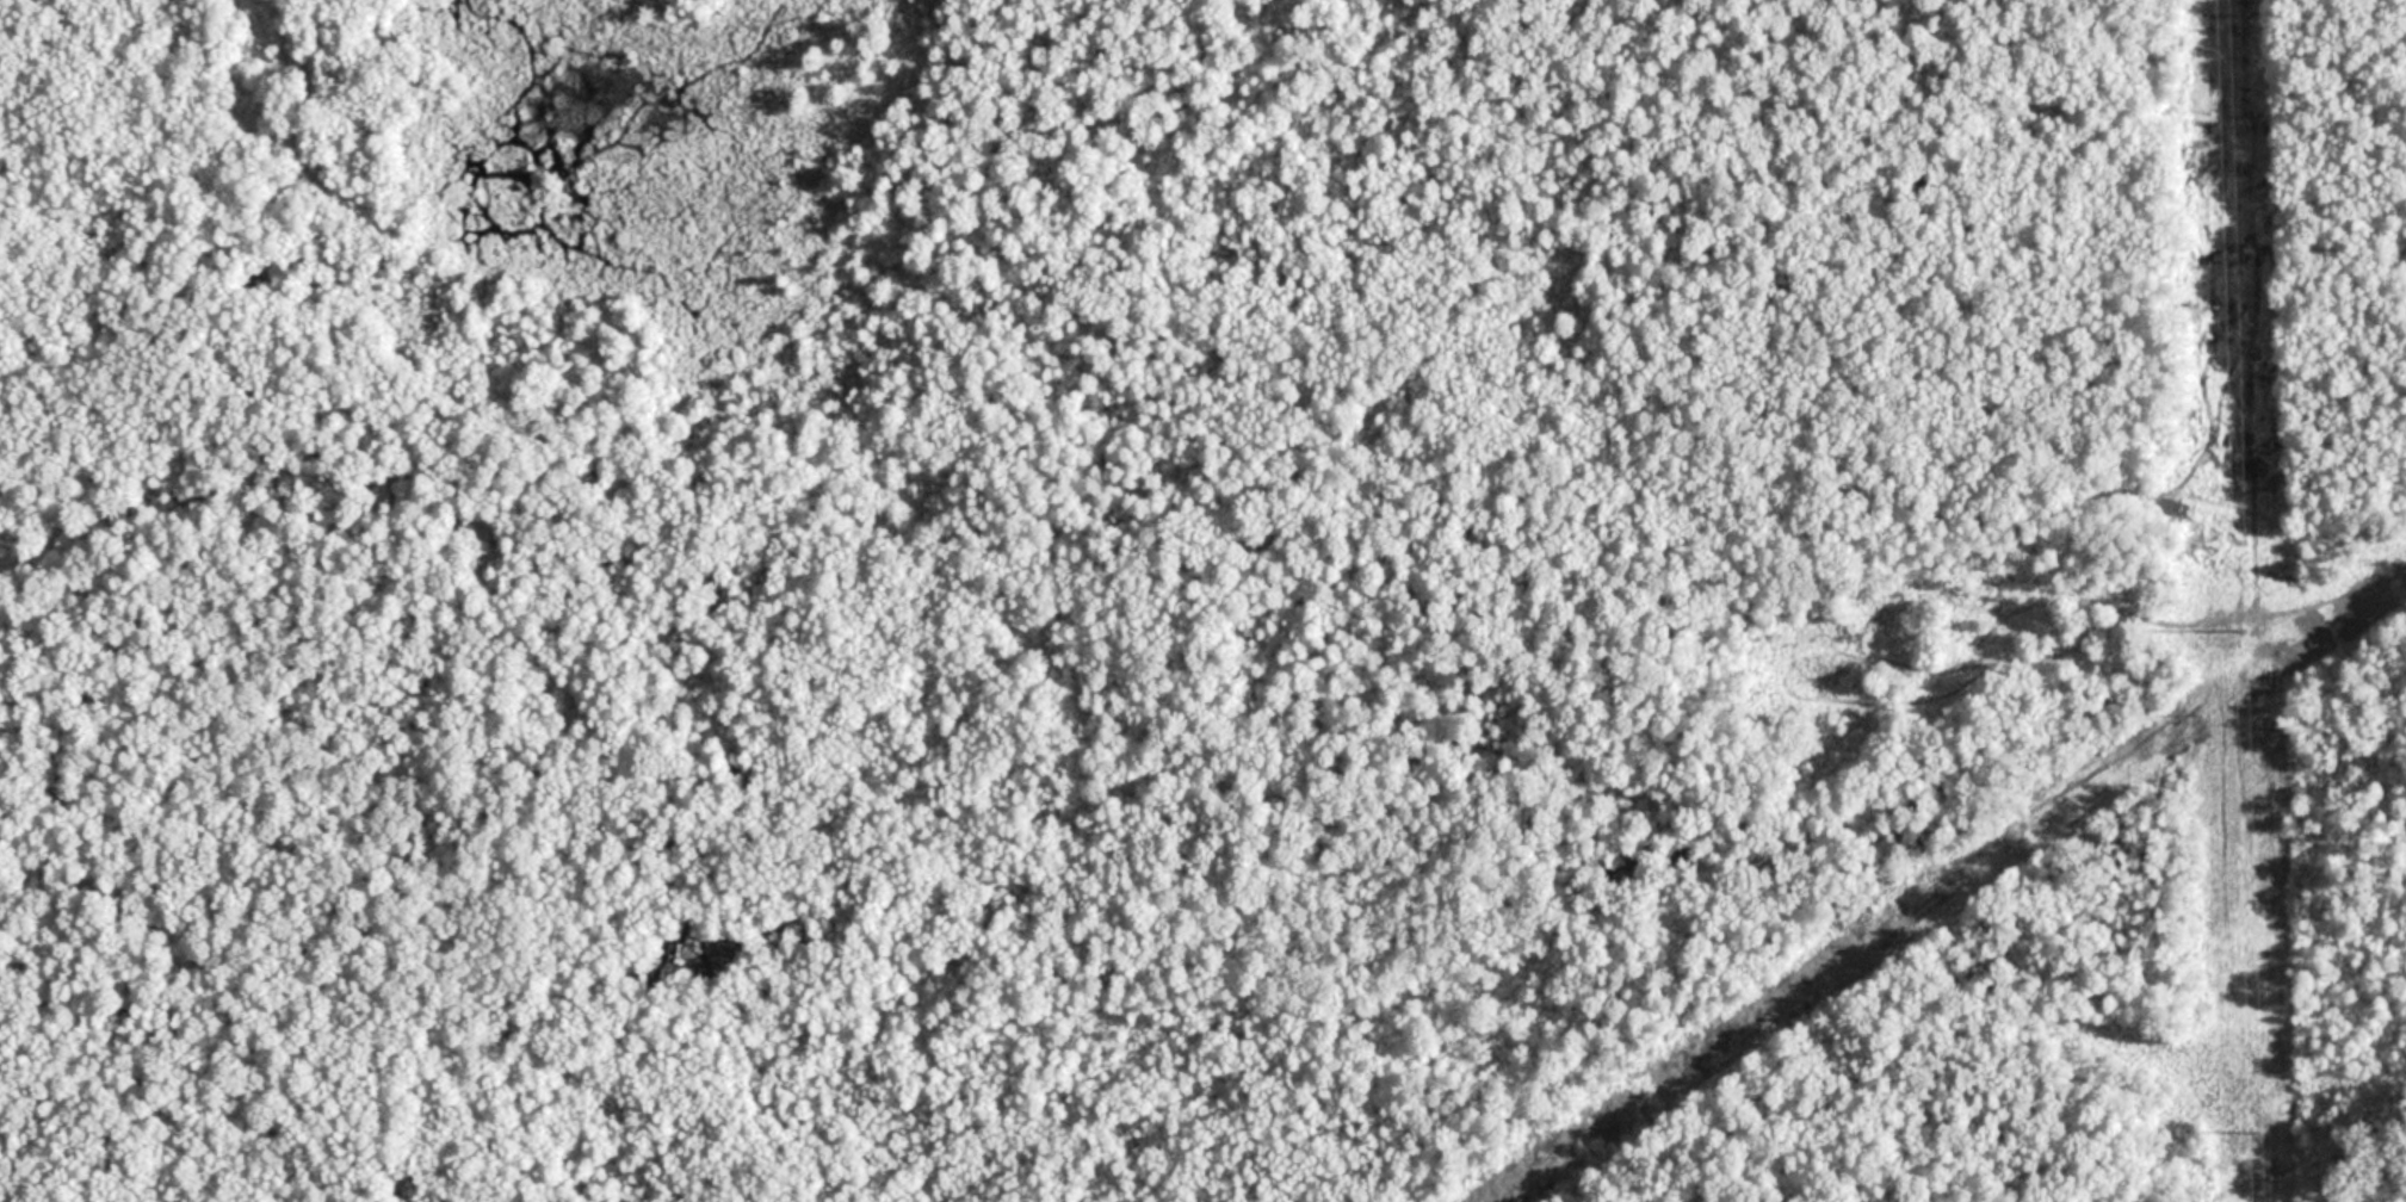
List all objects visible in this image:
power tower: (2246, 630)
park: (1076, 653)
power tower: (2257, 1138)

